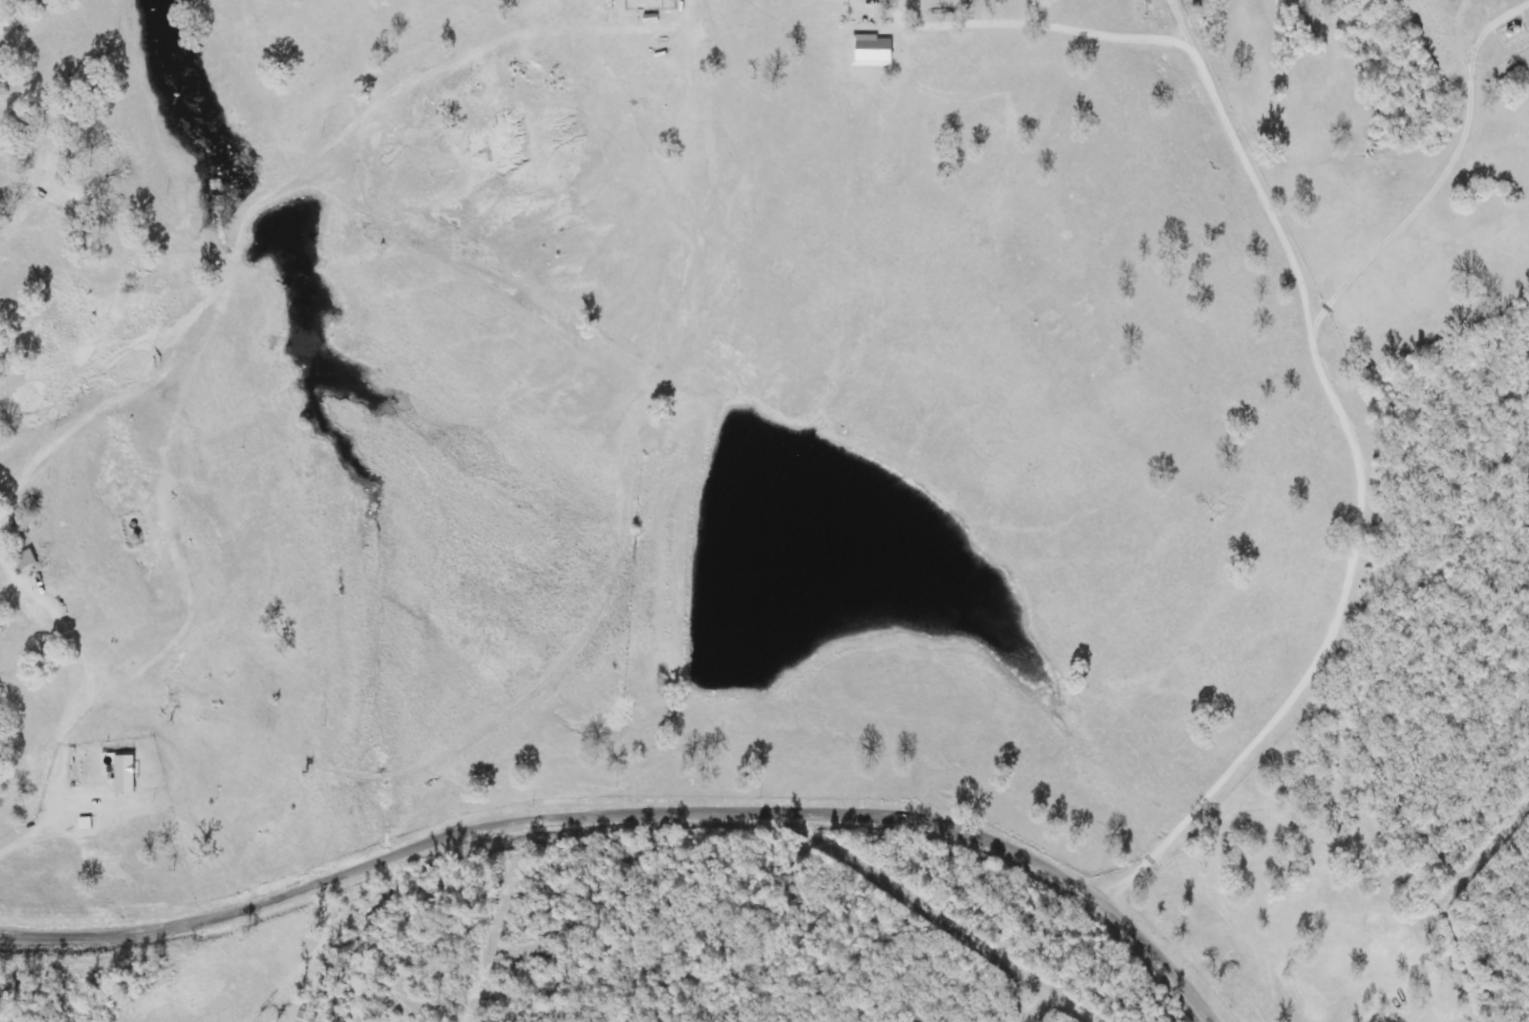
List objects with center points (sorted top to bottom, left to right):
building: (871, 51)
road: (1352, 503)
building: (24, 560)
road: (461, 732)
building: (123, 775)
road: (620, 847)
building: (306, 1015)

